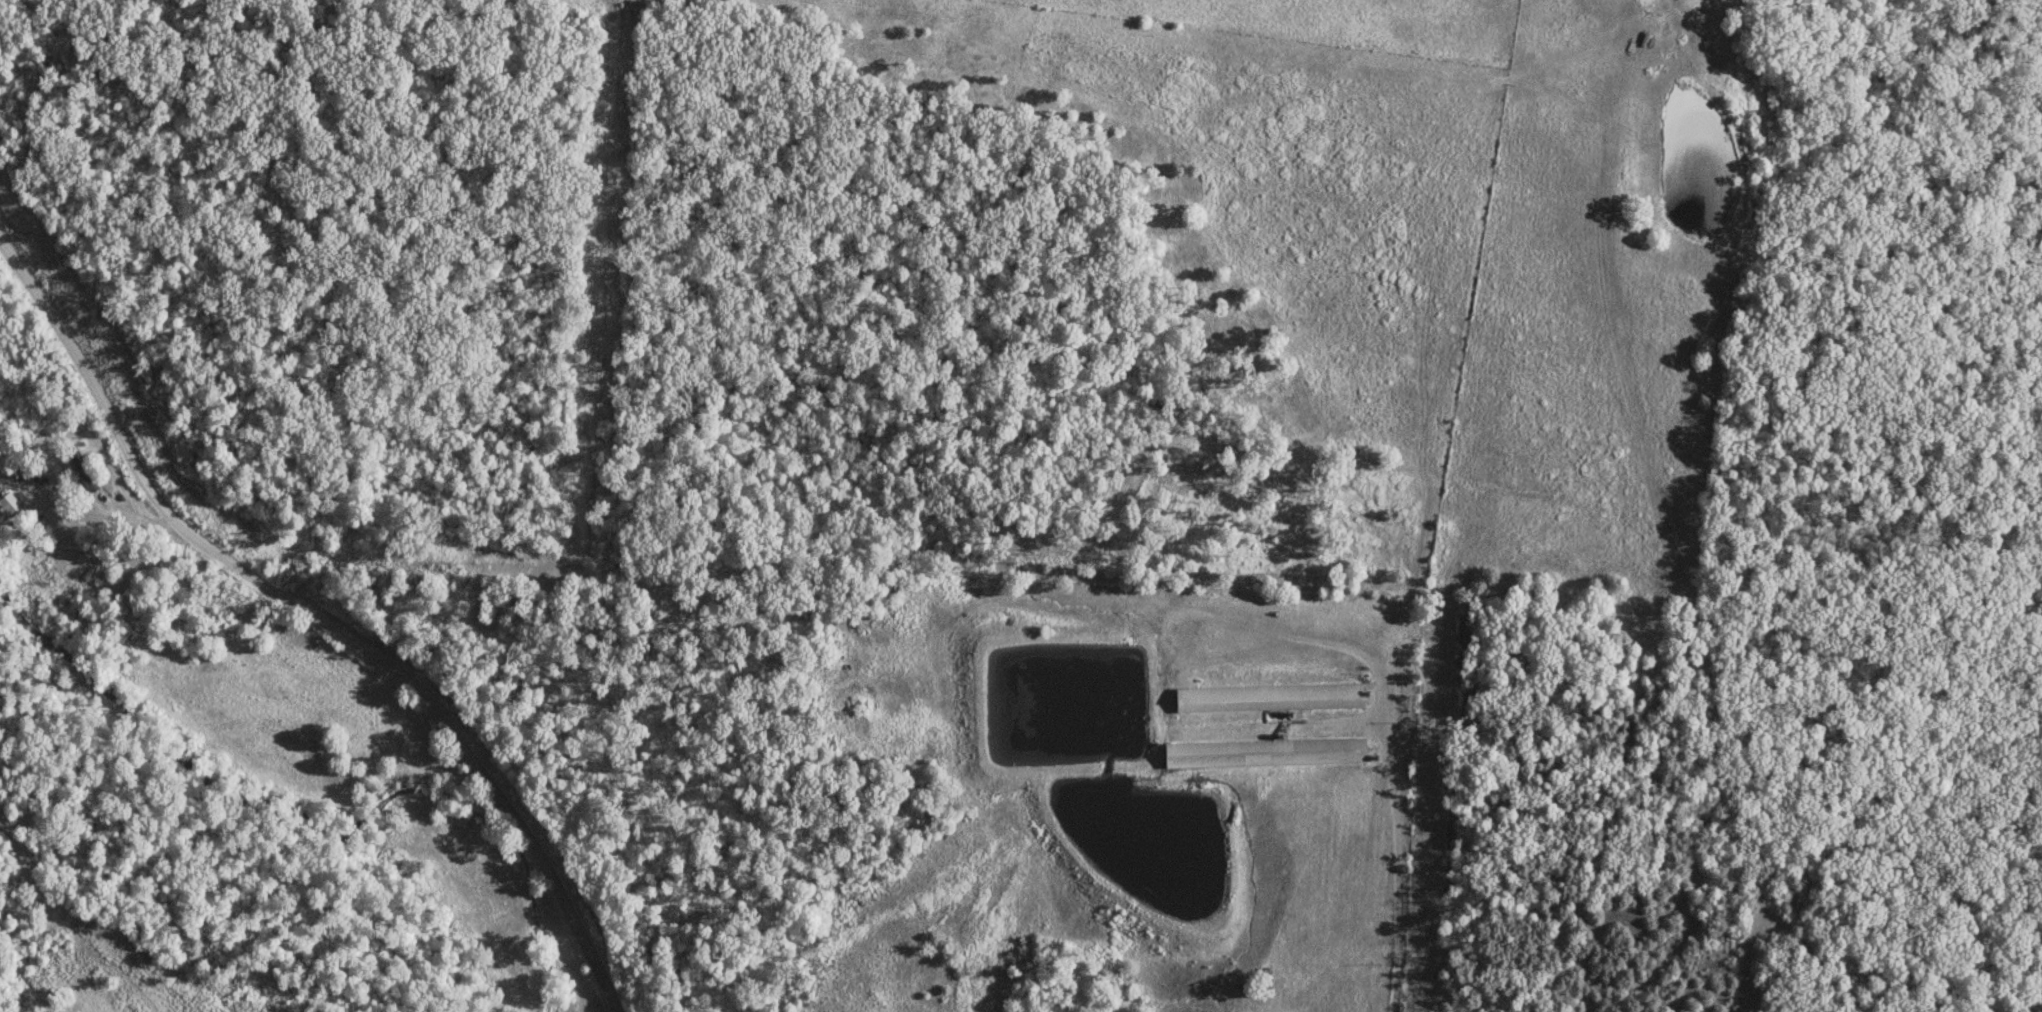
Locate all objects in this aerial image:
building: (85, 471)
building: (10, 505)
road: (317, 619)
building: (1272, 697)
building: (1268, 752)
road: (1395, 861)

